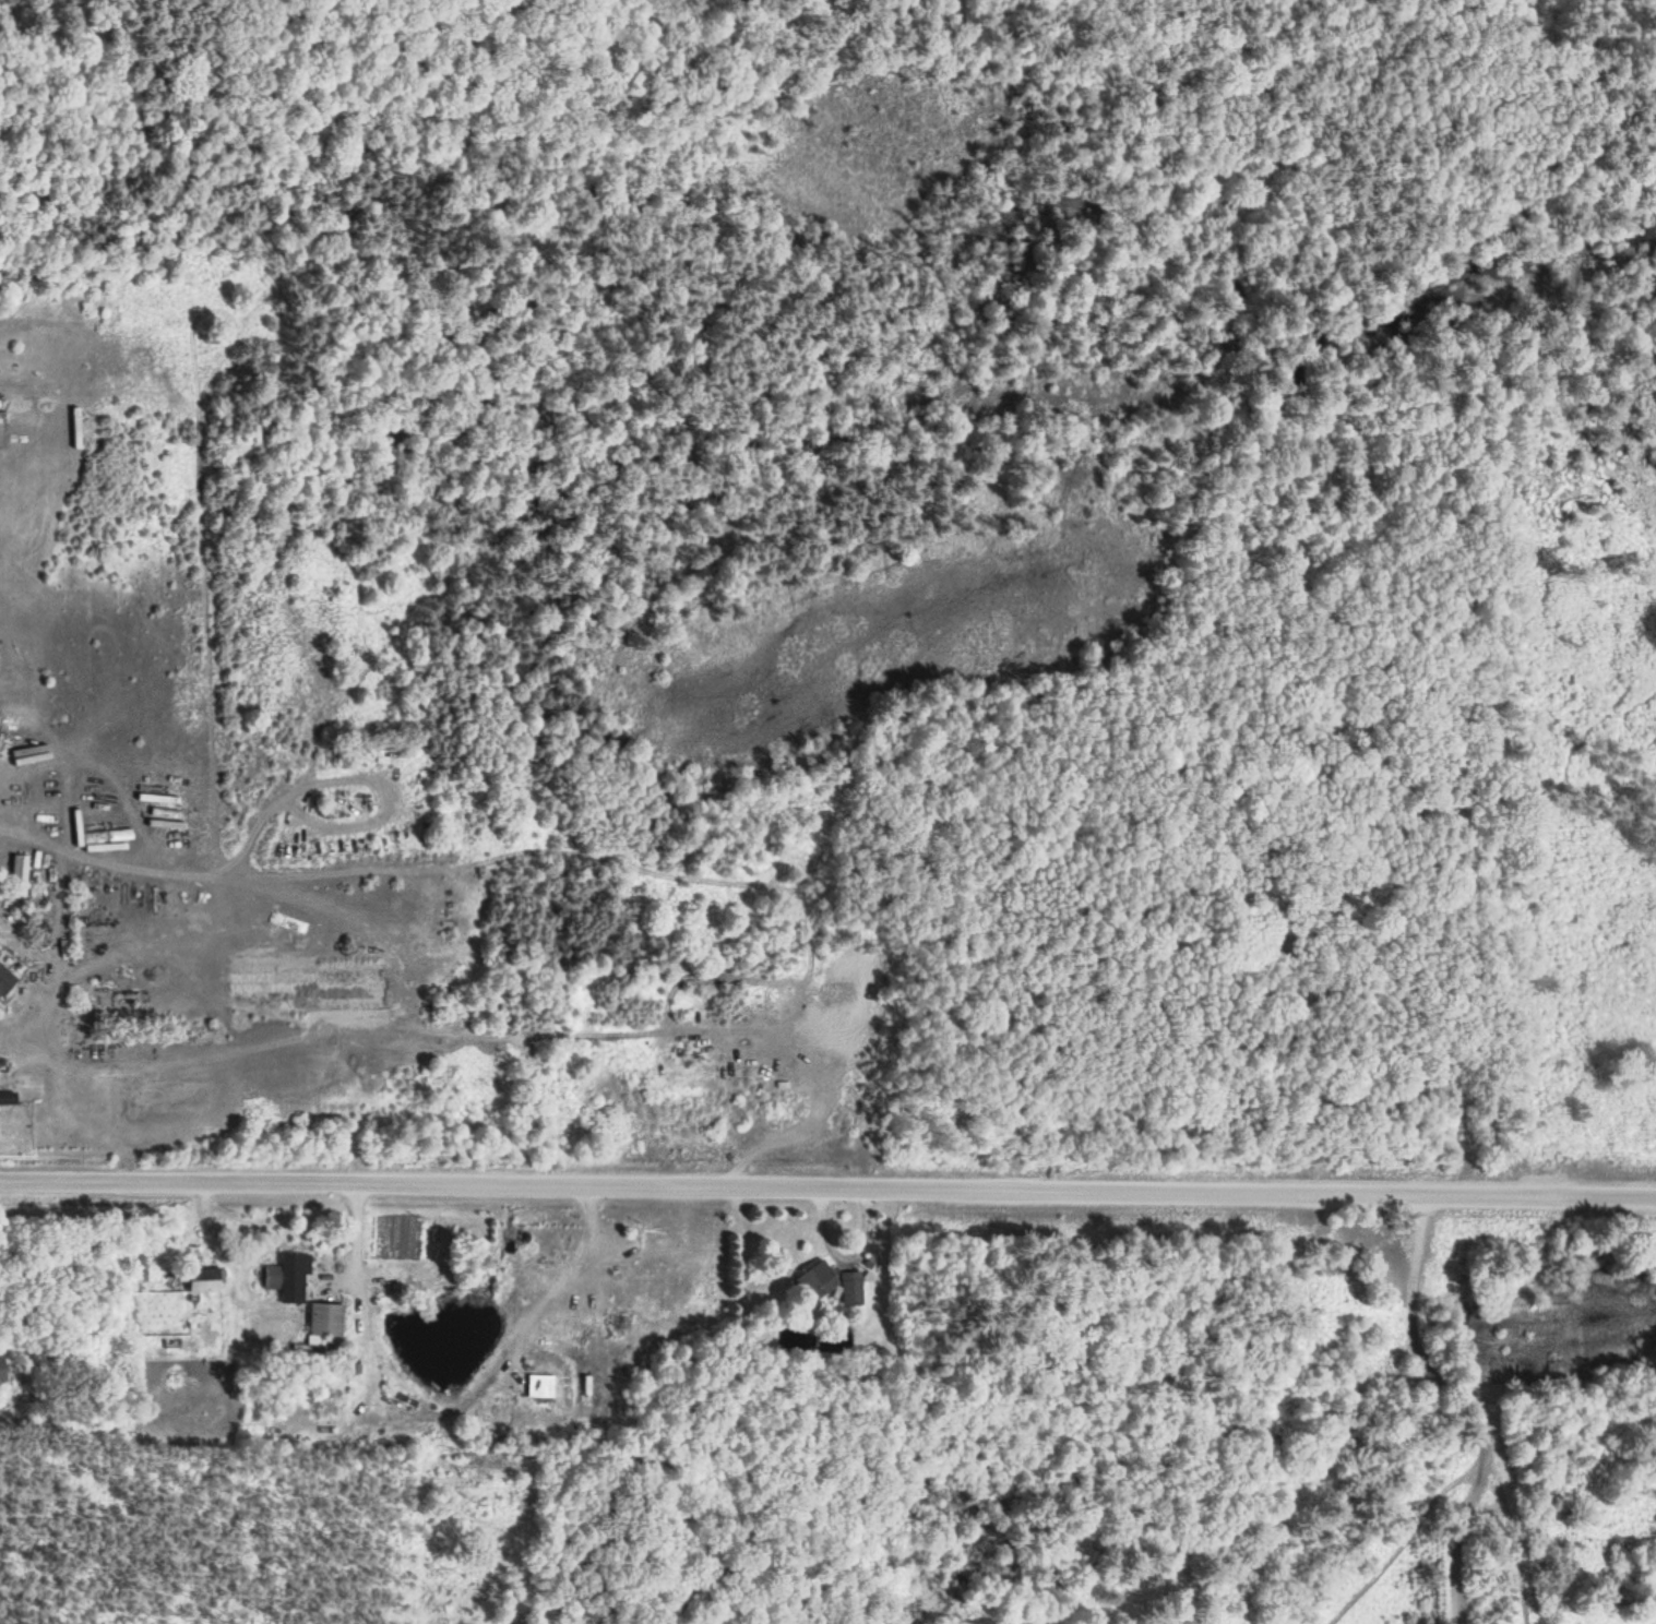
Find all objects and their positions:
building: (2, 420)
building: (20, 876)
building: (5, 982)
road: (827, 1187)
building: (285, 1277)
building: (652, 1278)
building: (205, 1280)
building: (818, 1281)
building: (853, 1289)
building: (325, 1323)
building: (2, 1371)
road: (1464, 1402)

